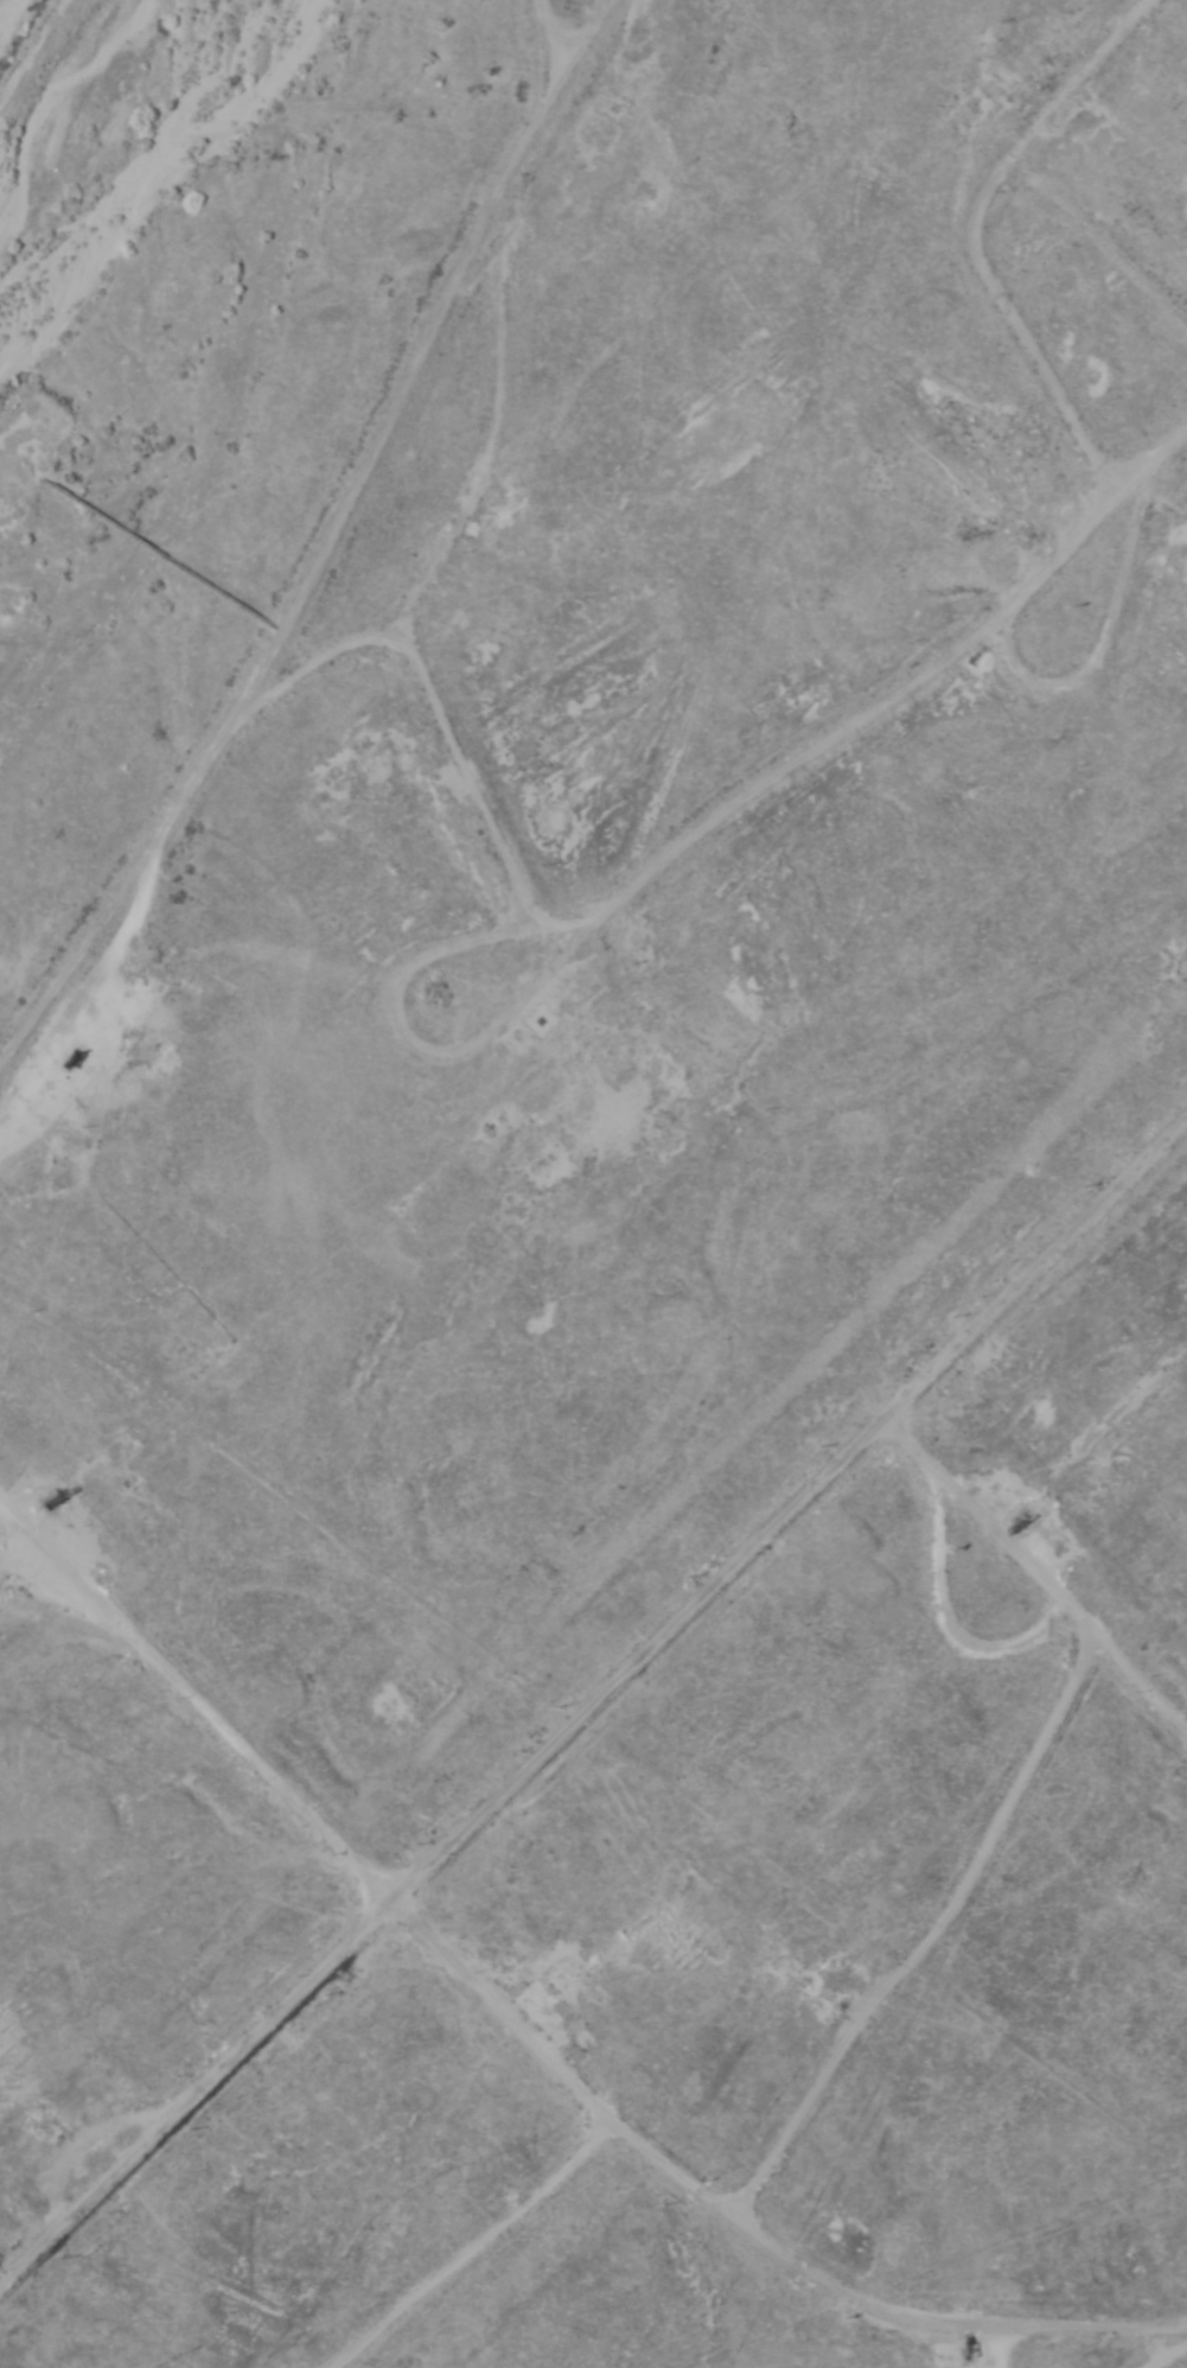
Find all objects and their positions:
road: (555, 30)
river: (94, 134)
road: (987, 286)
road: (302, 561)
road: (850, 713)
road: (1, 1521)
road: (1028, 1561)
road: (591, 1685)
road: (529, 2044)
road: (457, 2246)
road: (1156, 2350)

